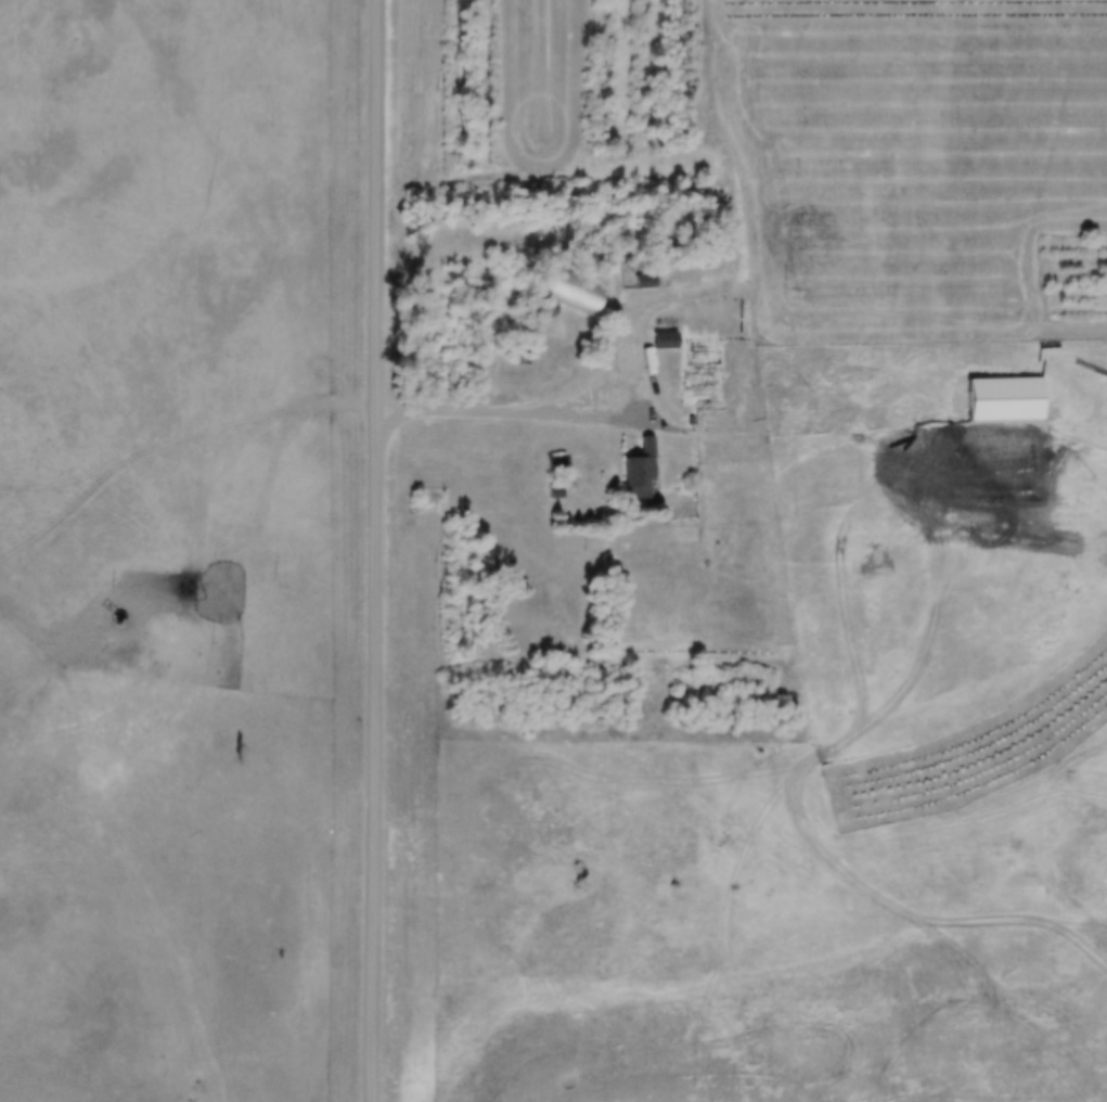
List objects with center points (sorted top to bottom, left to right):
road: (730, 137)
road: (918, 163)
building: (703, 187)
building: (646, 280)
building: (566, 287)
building: (662, 339)
building: (520, 356)
road: (567, 395)
building: (749, 411)
building: (642, 470)
building: (564, 472)
road: (377, 551)

